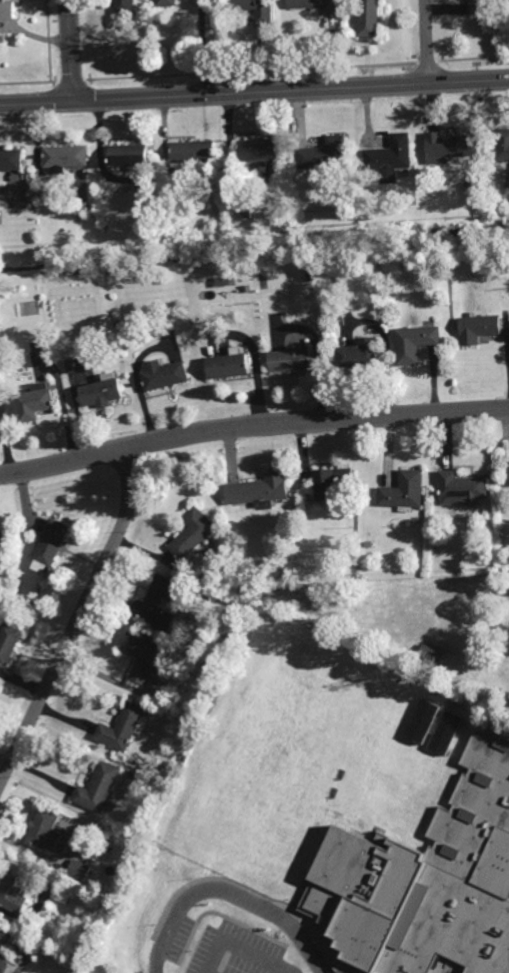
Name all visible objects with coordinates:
building: (167, 2)
building: (316, 4)
building: (125, 6)
building: (479, 6)
building: (255, 8)
building: (8, 9)
building: (370, 17)
road: (427, 41)
road: (70, 50)
road: (254, 91)
building: (503, 143)
building: (450, 144)
building: (260, 149)
building: (195, 151)
building: (390, 153)
building: (130, 154)
building: (324, 154)
building: (66, 156)
building: (11, 158)
building: (469, 167)
building: (301, 176)
building: (92, 215)
building: (247, 288)
building: (479, 329)
building: (415, 343)
building: (114, 347)
building: (359, 355)
building: (292, 360)
building: (70, 366)
building: (231, 366)
building: (167, 376)
building: (104, 393)
building: (35, 403)
road: (252, 423)
building: (330, 479)
building: (458, 485)
building: (258, 486)
building: (402, 488)
building: (190, 533)
building: (3, 539)
building: (53, 539)
building: (351, 550)
building: (21, 599)
building: (156, 600)
road: (78, 618)
building: (9, 640)
building: (143, 654)
building: (430, 655)
building: (423, 721)
building: (122, 726)
building: (445, 731)
building: (132, 772)
building: (97, 786)
building: (45, 829)
building: (78, 869)
building: (440, 872)
building: (14, 887)
road: (227, 894)
building: (81, 938)
building: (4, 948)

